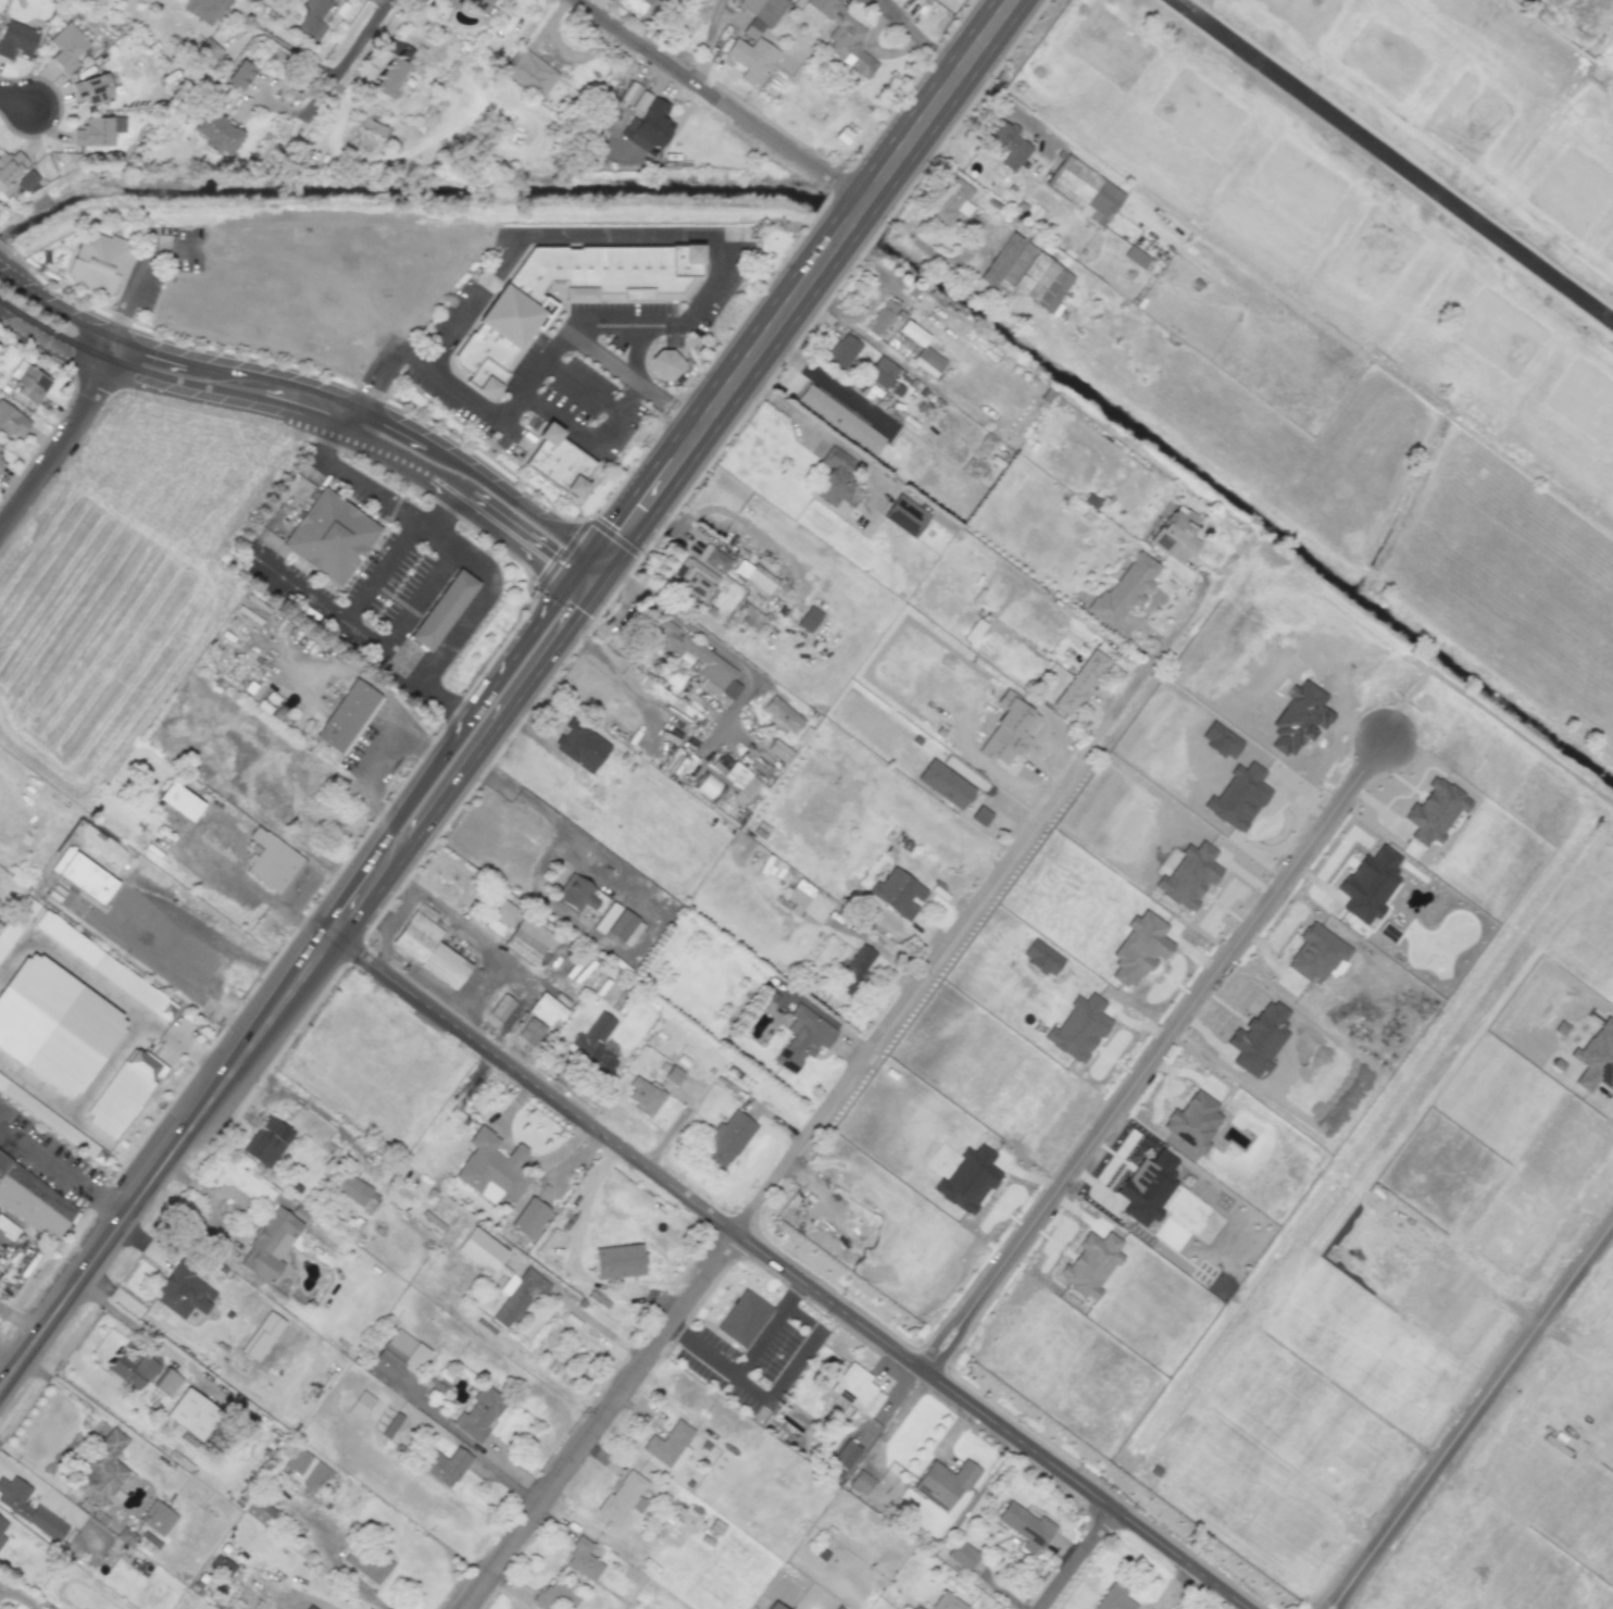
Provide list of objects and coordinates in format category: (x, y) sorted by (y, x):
building: (646, 1)
building: (454, 3)
building: (480, 4)
building: (204, 10)
building: (761, 13)
building: (312, 20)
road: (917, 36)
building: (843, 37)
building: (16, 38)
road: (286, 42)
road: (710, 42)
building: (65, 47)
road: (349, 54)
building: (750, 58)
building: (529, 71)
building: (239, 75)
building: (391, 78)
building: (92, 88)
building: (635, 97)
road: (14, 100)
road: (720, 100)
road: (59, 110)
building: (647, 127)
building: (98, 130)
building: (216, 134)
building: (1008, 145)
road: (1392, 162)
building: (10, 166)
building: (27, 179)
building: (1083, 189)
building: (951, 202)
road: (559, 233)
road: (918, 244)
road: (9, 252)
road: (146, 258)
building: (101, 259)
parking lot: (162, 261)
building: (1025, 274)
road: (798, 292)
road: (578, 302)
building: (228, 303)
building: (513, 310)
building: (321, 312)
building: (881, 317)
road: (120, 324)
road: (674, 345)
building: (900, 345)
road: (553, 348)
building: (922, 349)
building: (842, 352)
building: (665, 363)
building: (880, 372)
road: (833, 381)
building: (28, 382)
road: (633, 382)
road: (315, 386)
road: (372, 387)
road: (307, 415)
building: (839, 420)
building: (12, 421)
road: (811, 423)
road: (608, 427)
road: (538, 428)
road: (66, 436)
building: (0, 447)
road: (492, 460)
building: (0, 462)
building: (563, 464)
road: (698, 475)
building: (834, 478)
road: (292, 486)
road: (441, 511)
road: (730, 514)
road: (402, 515)
building: (905, 515)
building: (1176, 533)
building: (329, 534)
road: (614, 535)
building: (713, 559)
traffic signals: (608, 560)
road: (379, 573)
building: (695, 581)
building: (759, 581)
traffic signals: (587, 588)
building: (1125, 590)
road: (416, 600)
road: (577, 601)
building: (442, 607)
building: (809, 619)
road: (460, 631)
building: (975, 631)
road: (1167, 636)
road: (365, 639)
building: (715, 664)
road: (525, 673)
road: (620, 678)
building: (1080, 681)
building: (347, 713)
building: (783, 714)
road: (475, 744)
building: (582, 746)
building: (778, 750)
road: (462, 762)
building: (736, 778)
building: (945, 783)
building: (709, 785)
building: (182, 803)
building: (905, 845)
road: (395, 852)
building: (272, 859)
building: (86, 876)
building: (1368, 883)
building: (898, 893)
building: (575, 894)
road: (118, 899)
building: (797, 899)
road: (662, 906)
building: (505, 913)
building: (605, 918)
road: (452, 919)
building: (16, 922)
building: (624, 927)
parking lot: (154, 932)
building: (536, 944)
building: (1139, 948)
building: (435, 951)
building: (1315, 953)
building: (103, 964)
building: (855, 969)
building: (550, 1006)
building: (501, 1008)
building: (55, 1024)
building: (1078, 1027)
road: (1170, 1028)
building: (530, 1031)
building: (803, 1038)
building: (593, 1044)
building: (673, 1074)
road: (534, 1084)
building: (123, 1092)
building: (643, 1095)
road: (317, 1112)
road: (505, 1112)
building: (51, 1120)
building: (1201, 1120)
building: (728, 1138)
building: (266, 1140)
road: (560, 1150)
road: (788, 1157)
road: (163, 1159)
building: (3, 1165)
road: (63, 1167)
building: (493, 1169)
building: (968, 1178)
building: (352, 1188)
building: (1149, 1188)
building: (35, 1202)
road: (246, 1203)
building: (529, 1218)
building: (8, 1228)
building: (271, 1242)
building: (480, 1250)
building: (620, 1260)
building: (1090, 1263)
building: (183, 1290)
building: (517, 1295)
building: (743, 1319)
road: (598, 1325)
road: (16, 1326)
building: (262, 1336)
road: (149, 1337)
road: (936, 1338)
road: (949, 1347)
building: (399, 1354)
parking lot: (755, 1356)
road: (5, 1363)
road: (745, 1363)
road: (795, 1363)
building: (133, 1368)
building: (167, 1383)
building: (856, 1389)
road: (1481, 1399)
road: (78, 1404)
building: (360, 1405)
building: (192, 1413)
building: (479, 1413)
road: (991, 1419)
building: (391, 1425)
building: (670, 1445)
building: (842, 1458)
building: (446, 1465)
building: (101, 1470)
building: (305, 1470)
building: (861, 1482)
building: (945, 1482)
building: (623, 1498)
building: (28, 1508)
building: (260, 1511)
building: (157, 1518)
building: (1025, 1526)
building: (2, 1530)
building: (148, 1543)
building: (963, 1555)
road: (1075, 1558)
building: (583, 1560)
building: (366, 1562)
road: (334, 1563)
road: (1333, 1593)
road: (1343, 1595)
building: (557, 1596)
building: (1113, 1598)
building: (947, 1602)
building: (773, 1606)
building: (310, 1607)
building: (837, 1608)

